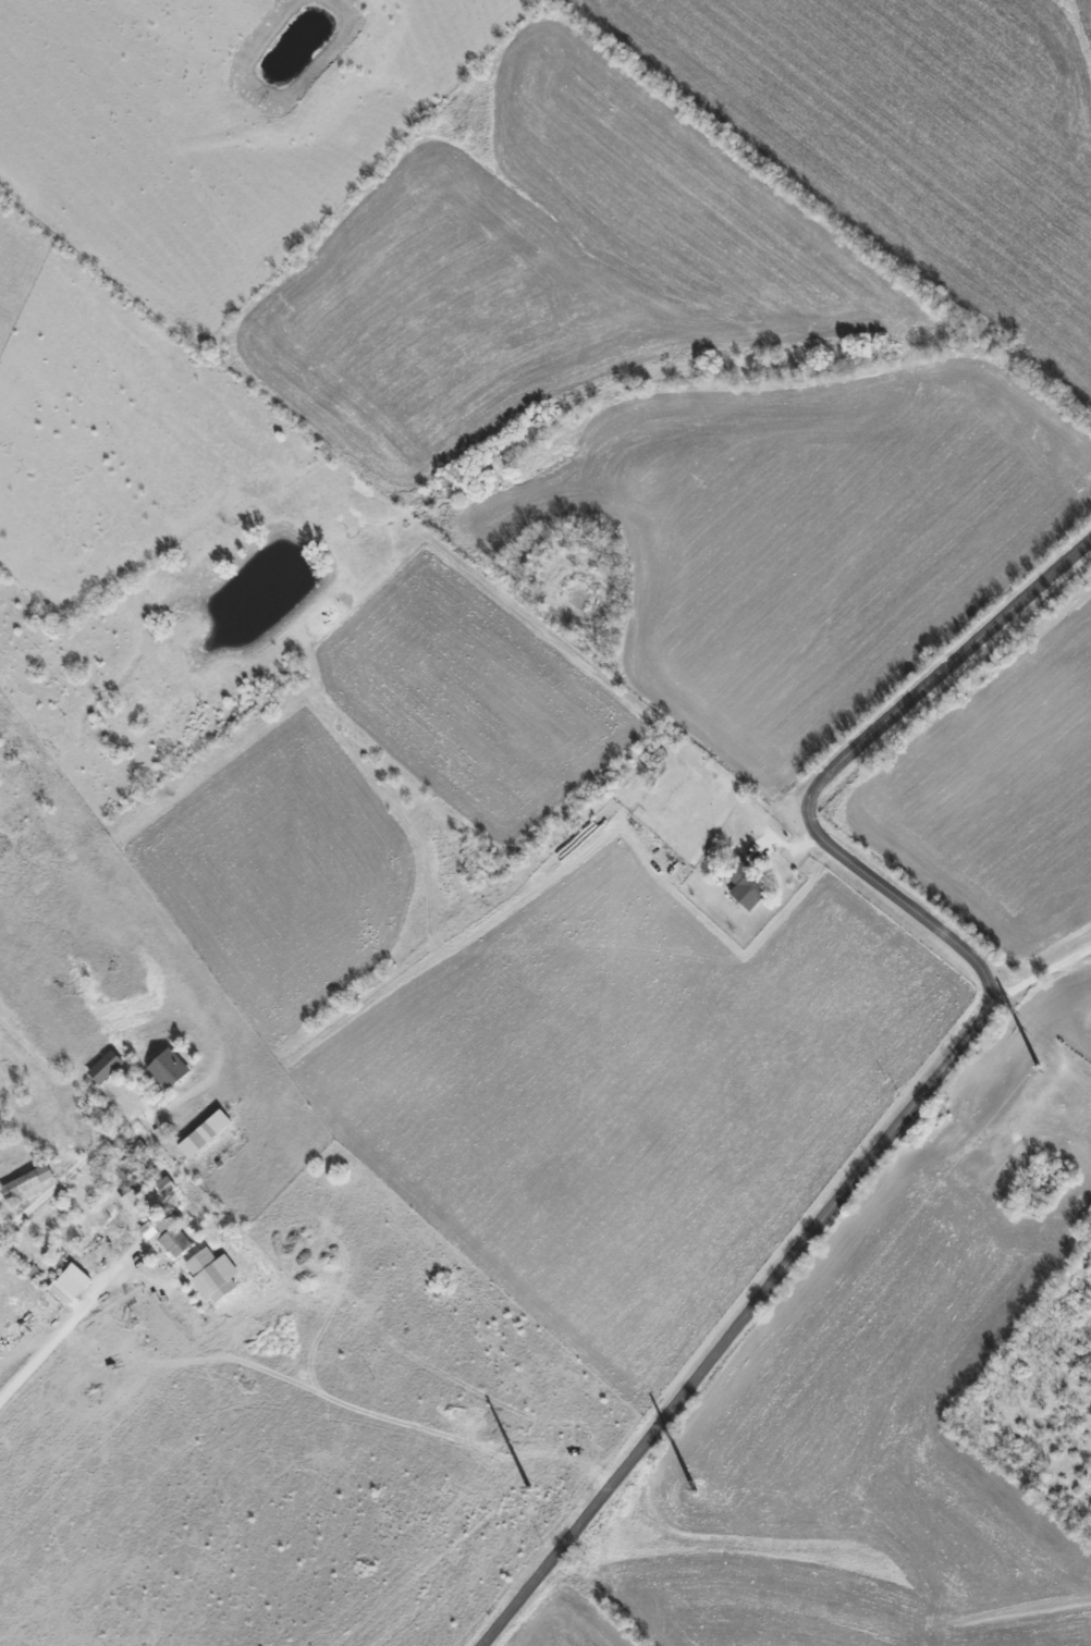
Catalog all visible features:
road: (1042, 972)
road: (948, 1065)
power tower: (1025, 1065)
building: (105, 1066)
building: (169, 1068)
building: (205, 1132)
road: (65, 1176)
building: (28, 1182)
building: (131, 1200)
building: (168, 1234)
building: (206, 1270)
road: (65, 1326)
power tower: (517, 1487)
power tower: (685, 1490)

